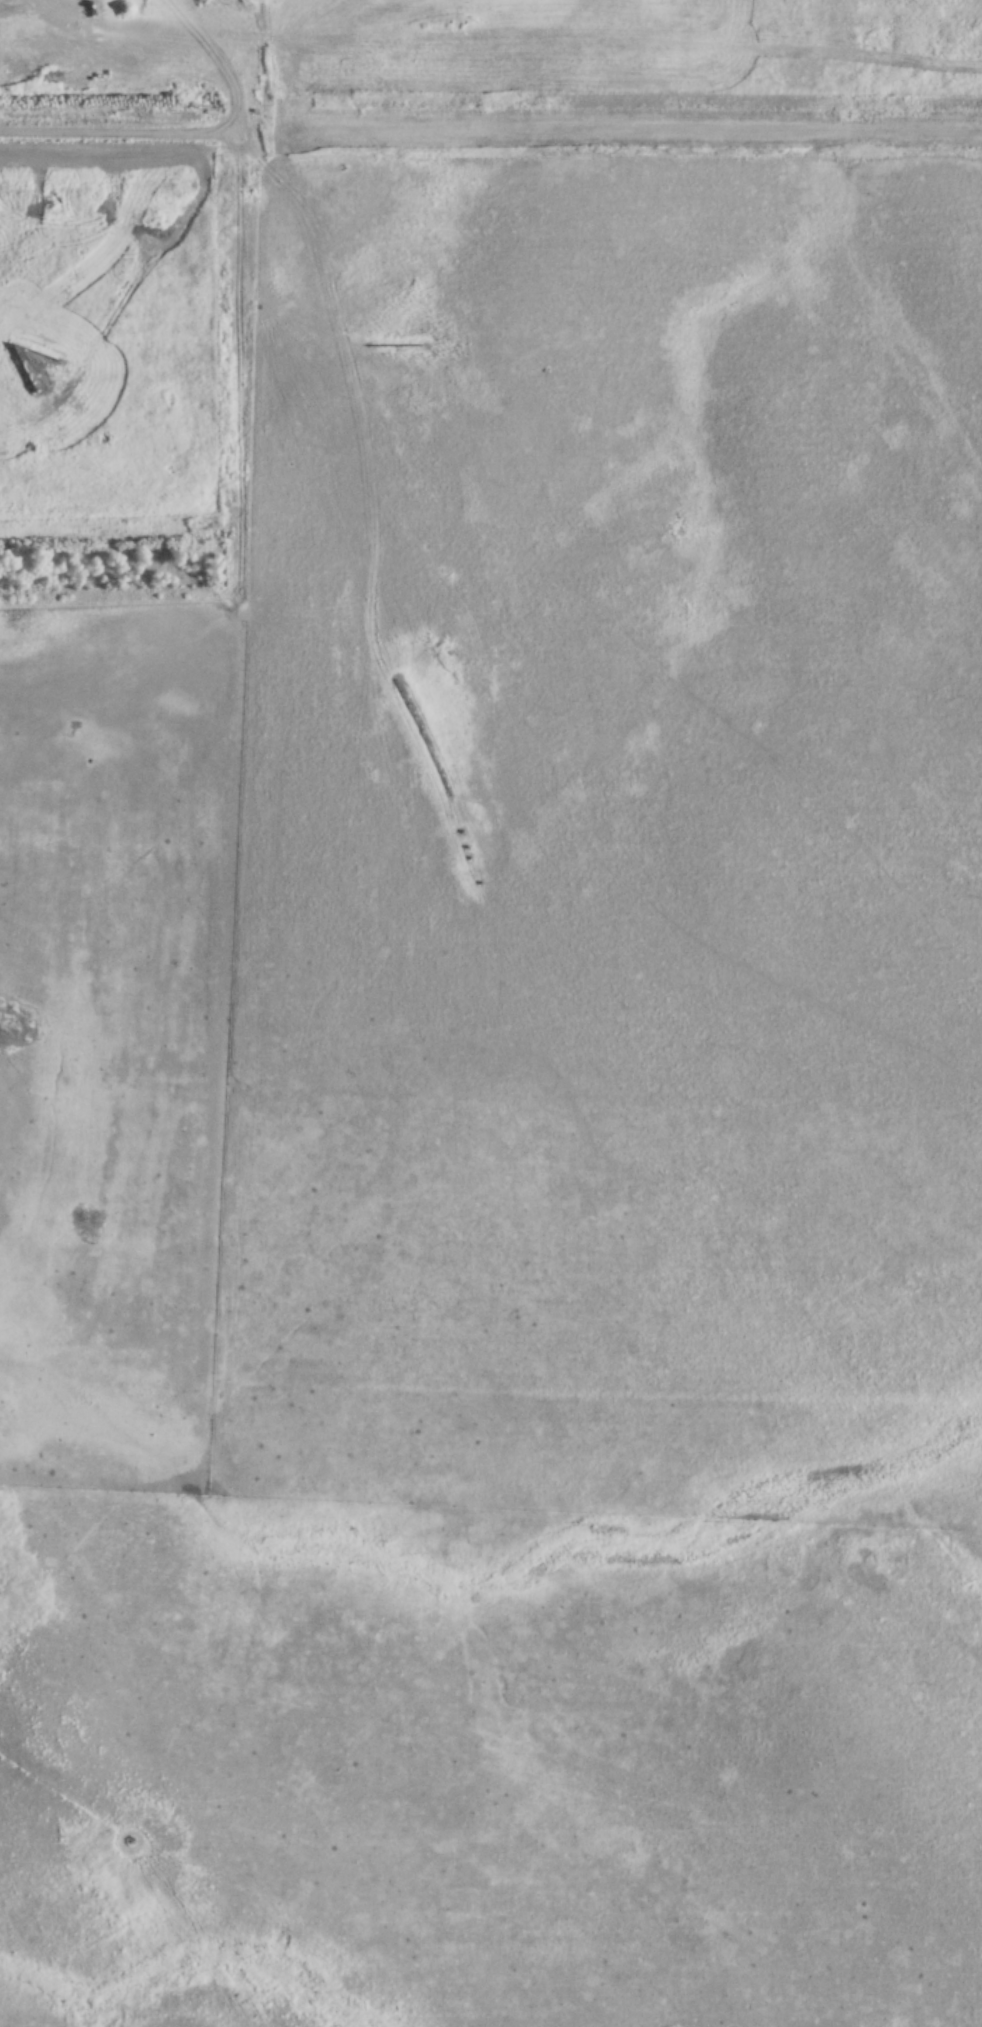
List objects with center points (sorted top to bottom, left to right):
road: (491, 59)

